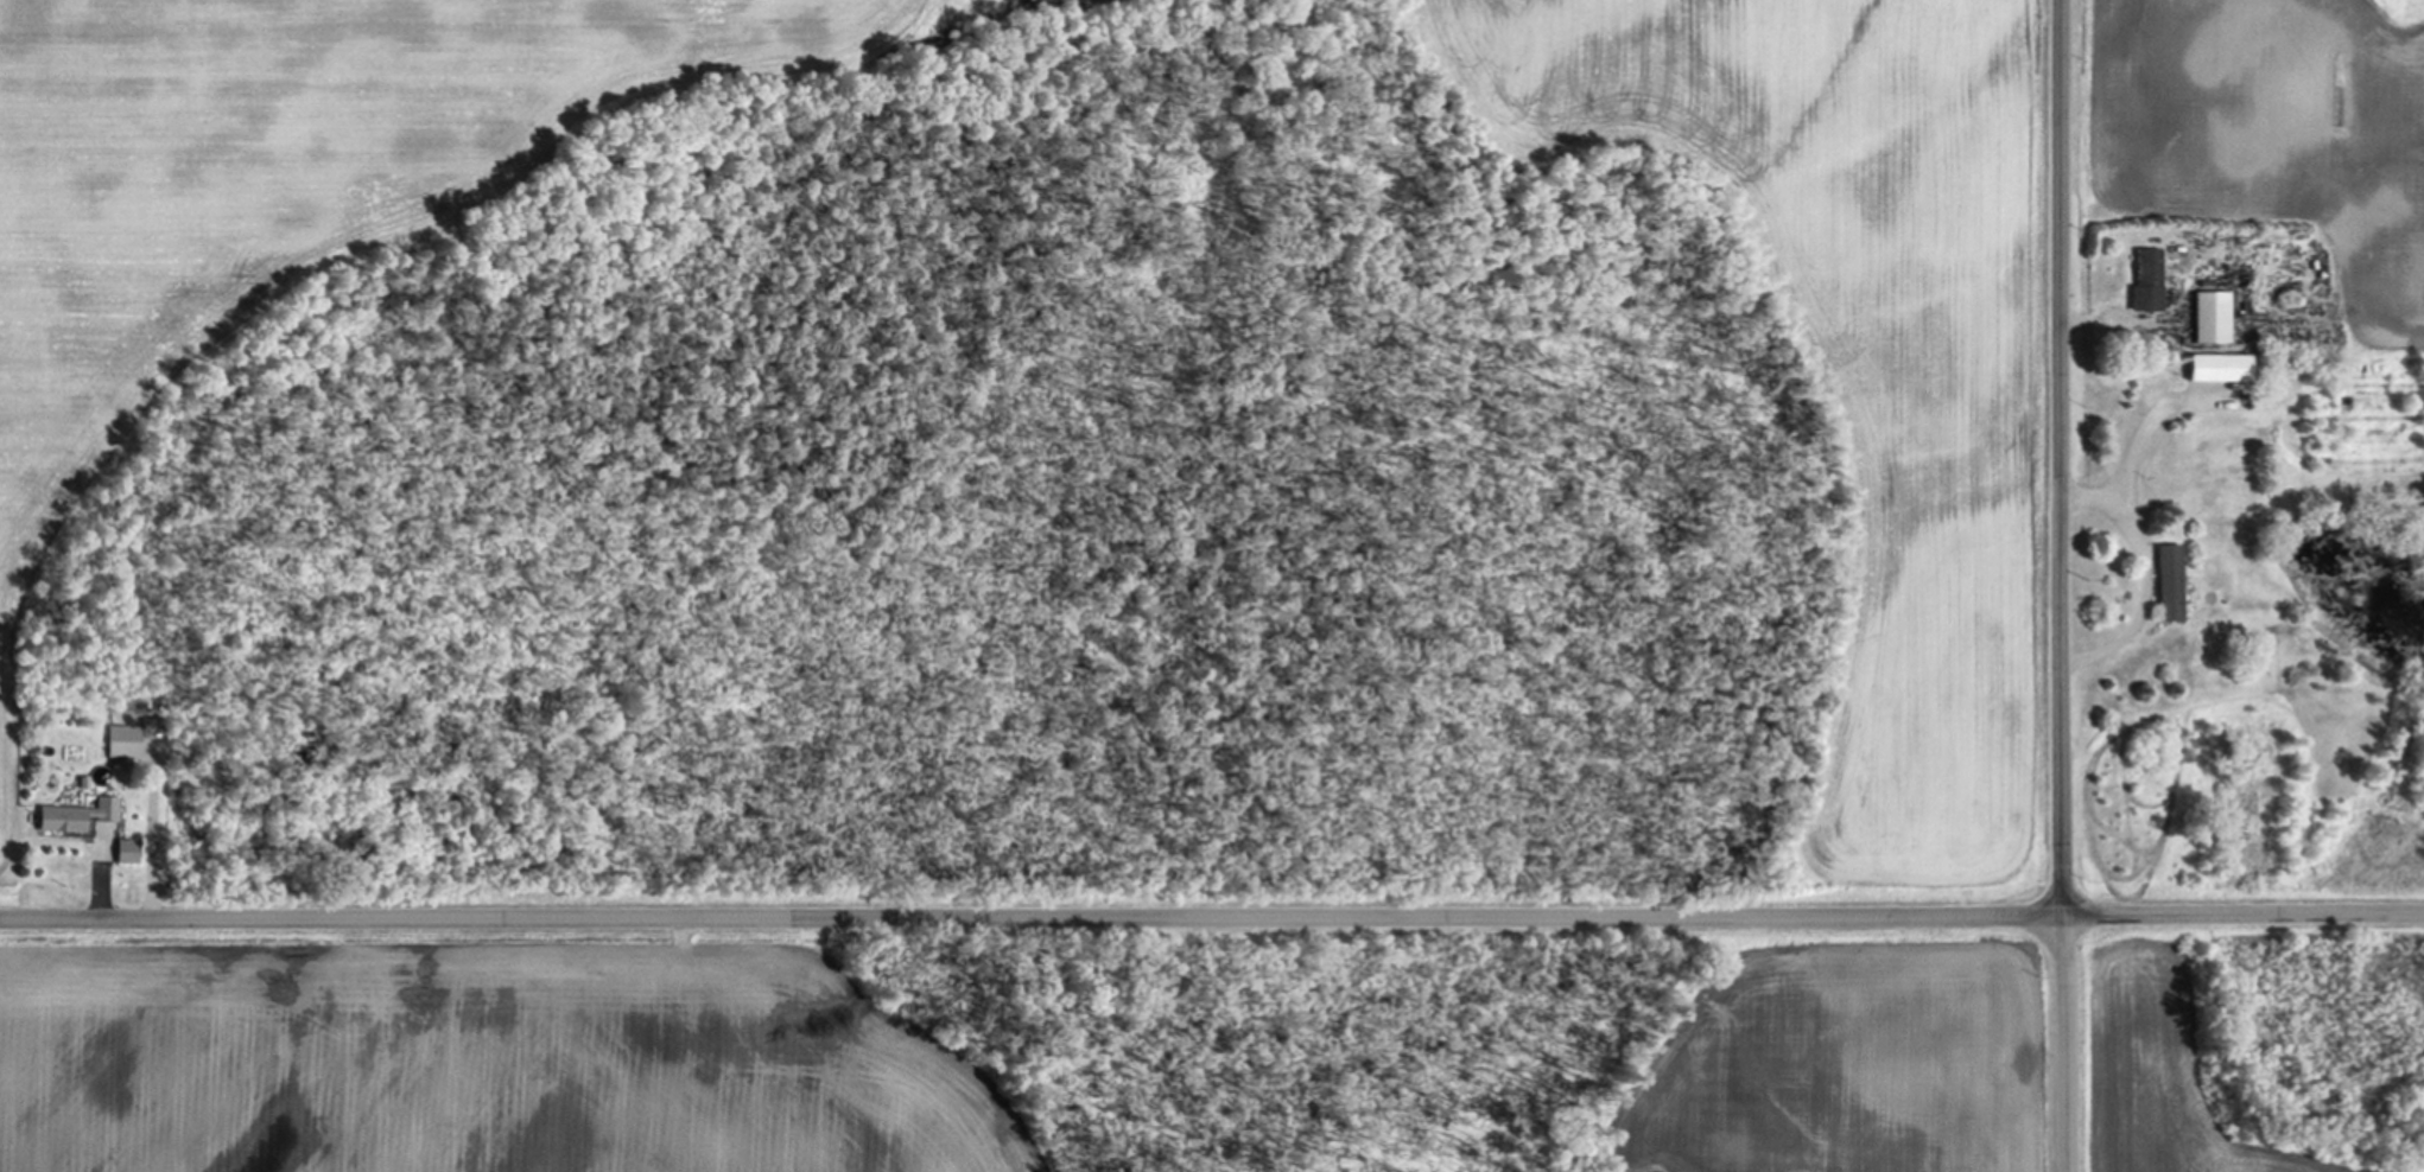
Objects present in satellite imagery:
building: (2143, 281)
building: (2206, 318)
road: (2112, 323)
building: (2213, 369)
road: (2155, 416)
road: (2146, 574)
building: (2163, 584)
road: (2064, 586)
building: (127, 741)
building: (81, 816)
road: (156, 832)
building: (132, 852)
road: (103, 898)
road: (1212, 919)

